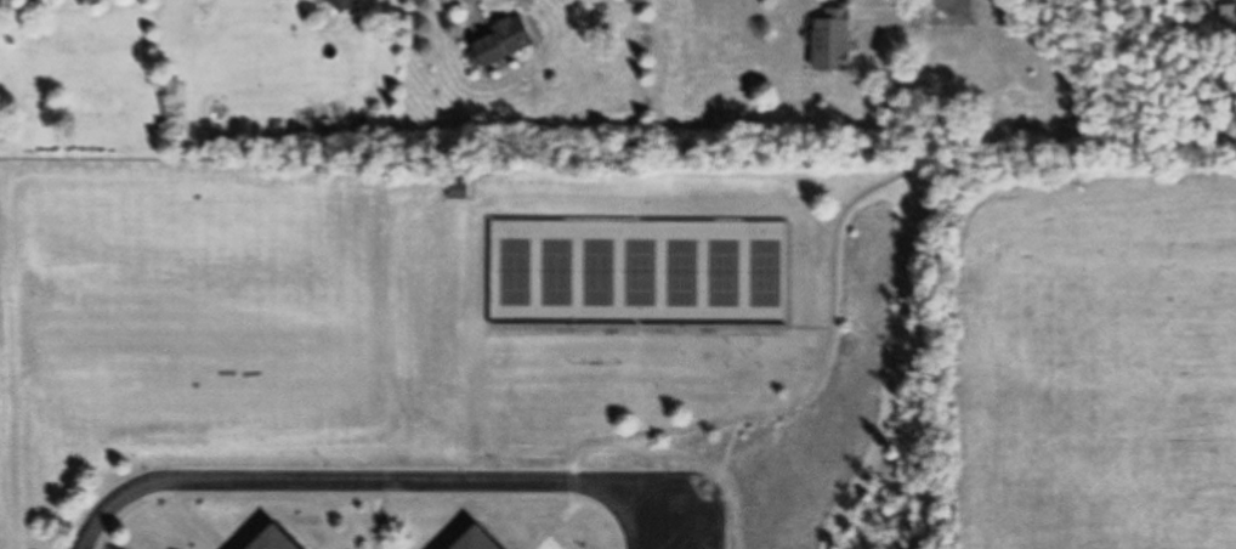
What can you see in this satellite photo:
road: (948, 4)
building: (1231, 9)
road: (906, 18)
building: (838, 41)
building: (506, 44)
building: (463, 191)
park: (641, 271)
park: (208, 276)
building: (284, 539)
building: (488, 540)

